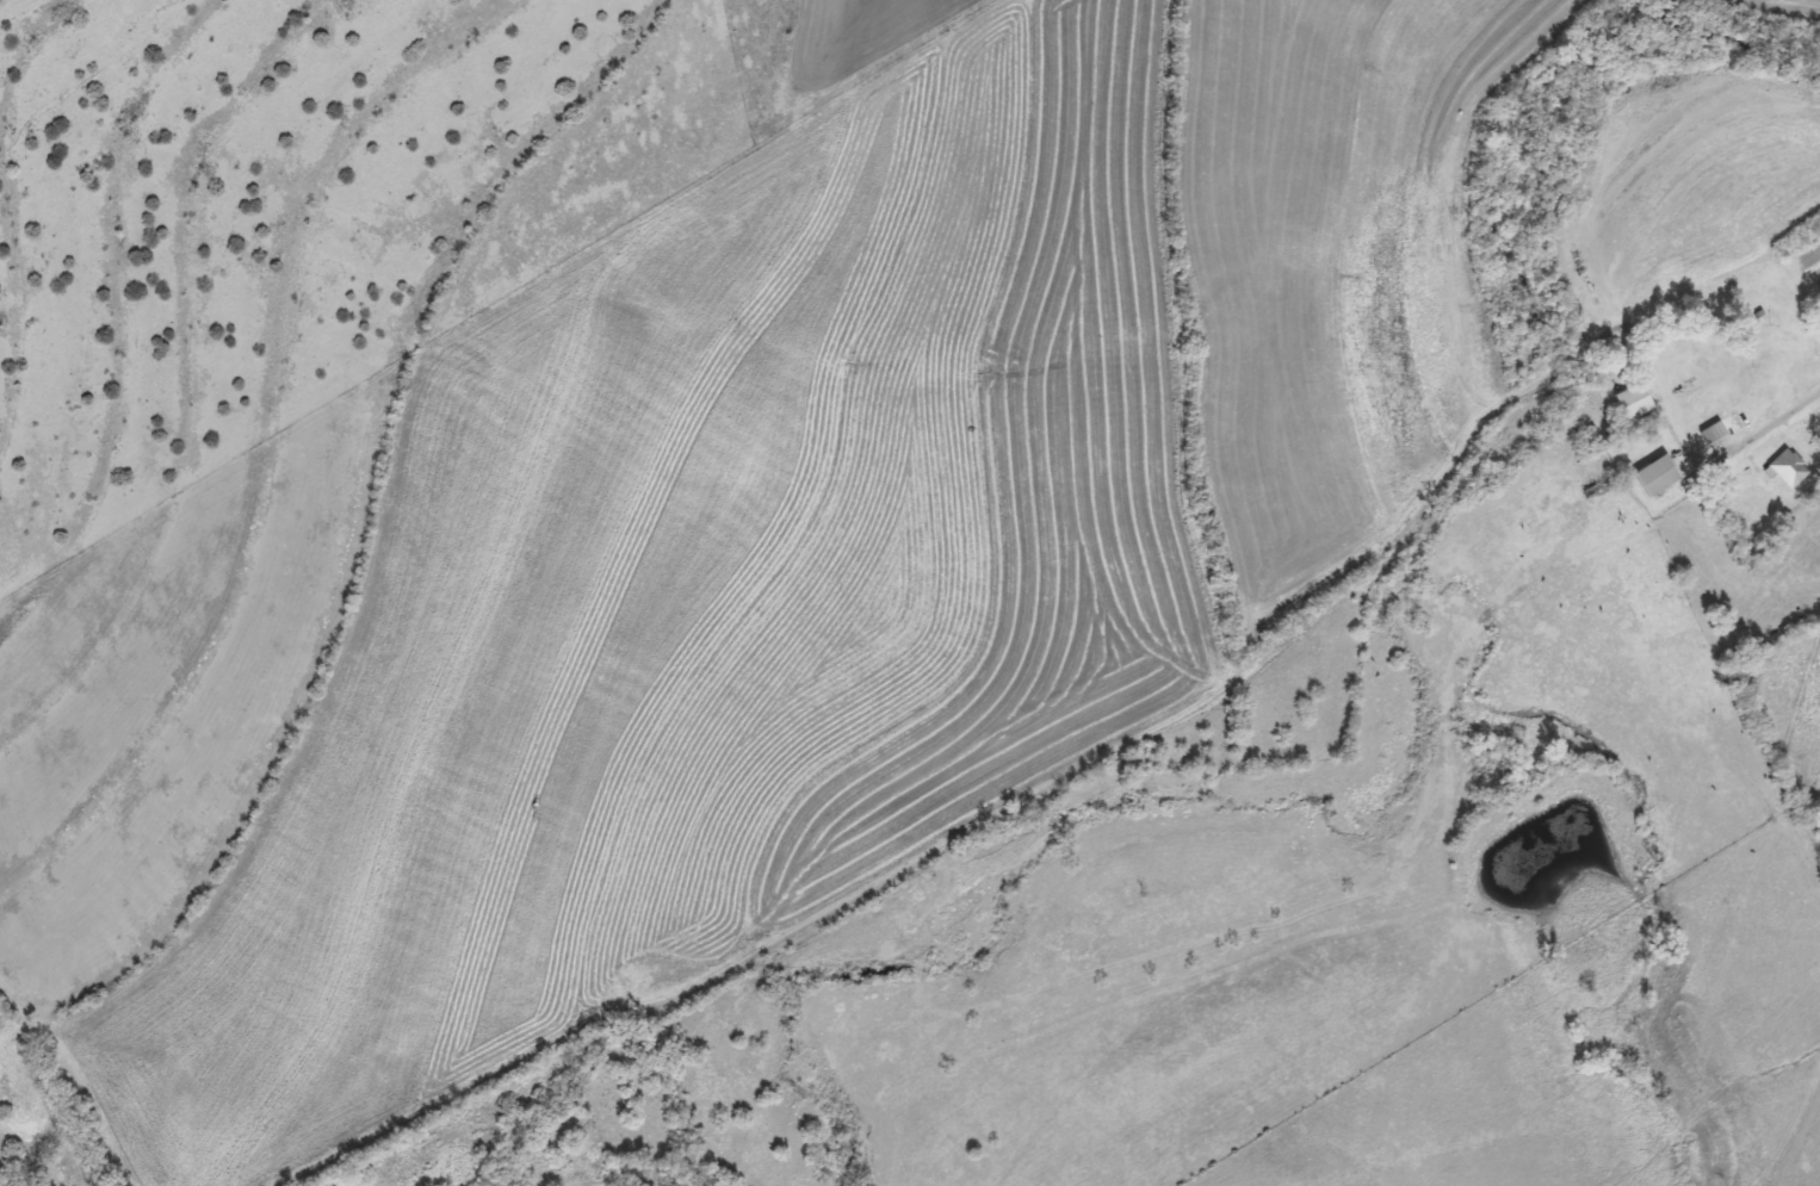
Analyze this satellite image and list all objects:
road: (1765, 420)
building: (1709, 434)
building: (1784, 470)
building: (1652, 477)

